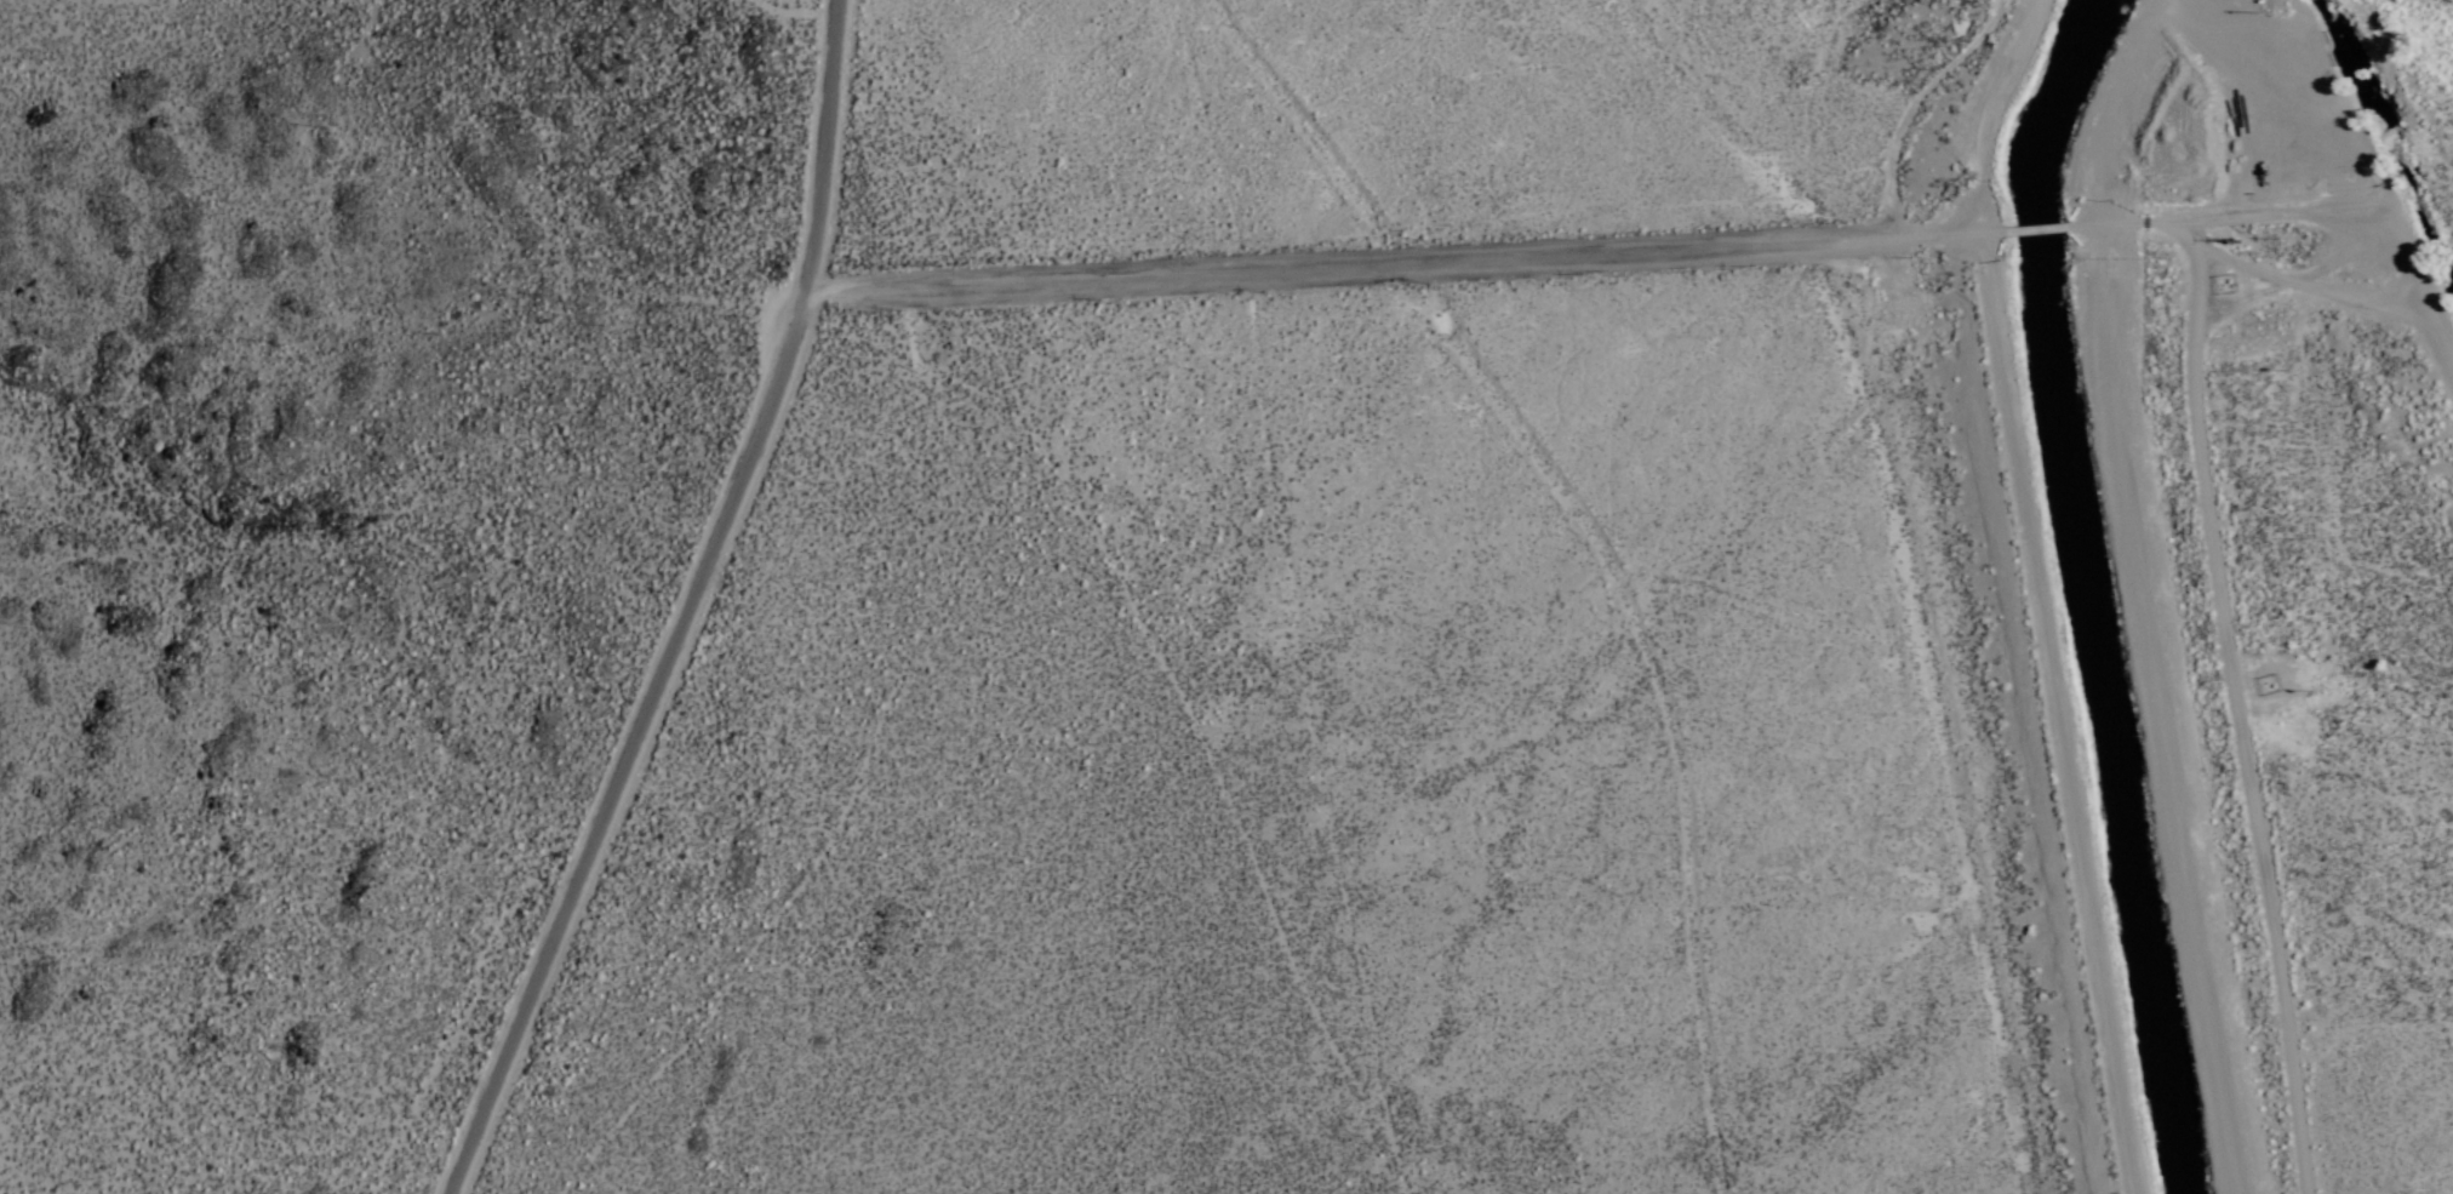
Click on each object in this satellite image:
road: (2358, 232)
road: (2040, 235)
road: (1945, 242)
road: (1353, 268)
road: (2248, 284)
road: (2045, 590)
road: (2148, 594)
road: (694, 609)
road: (2235, 727)

